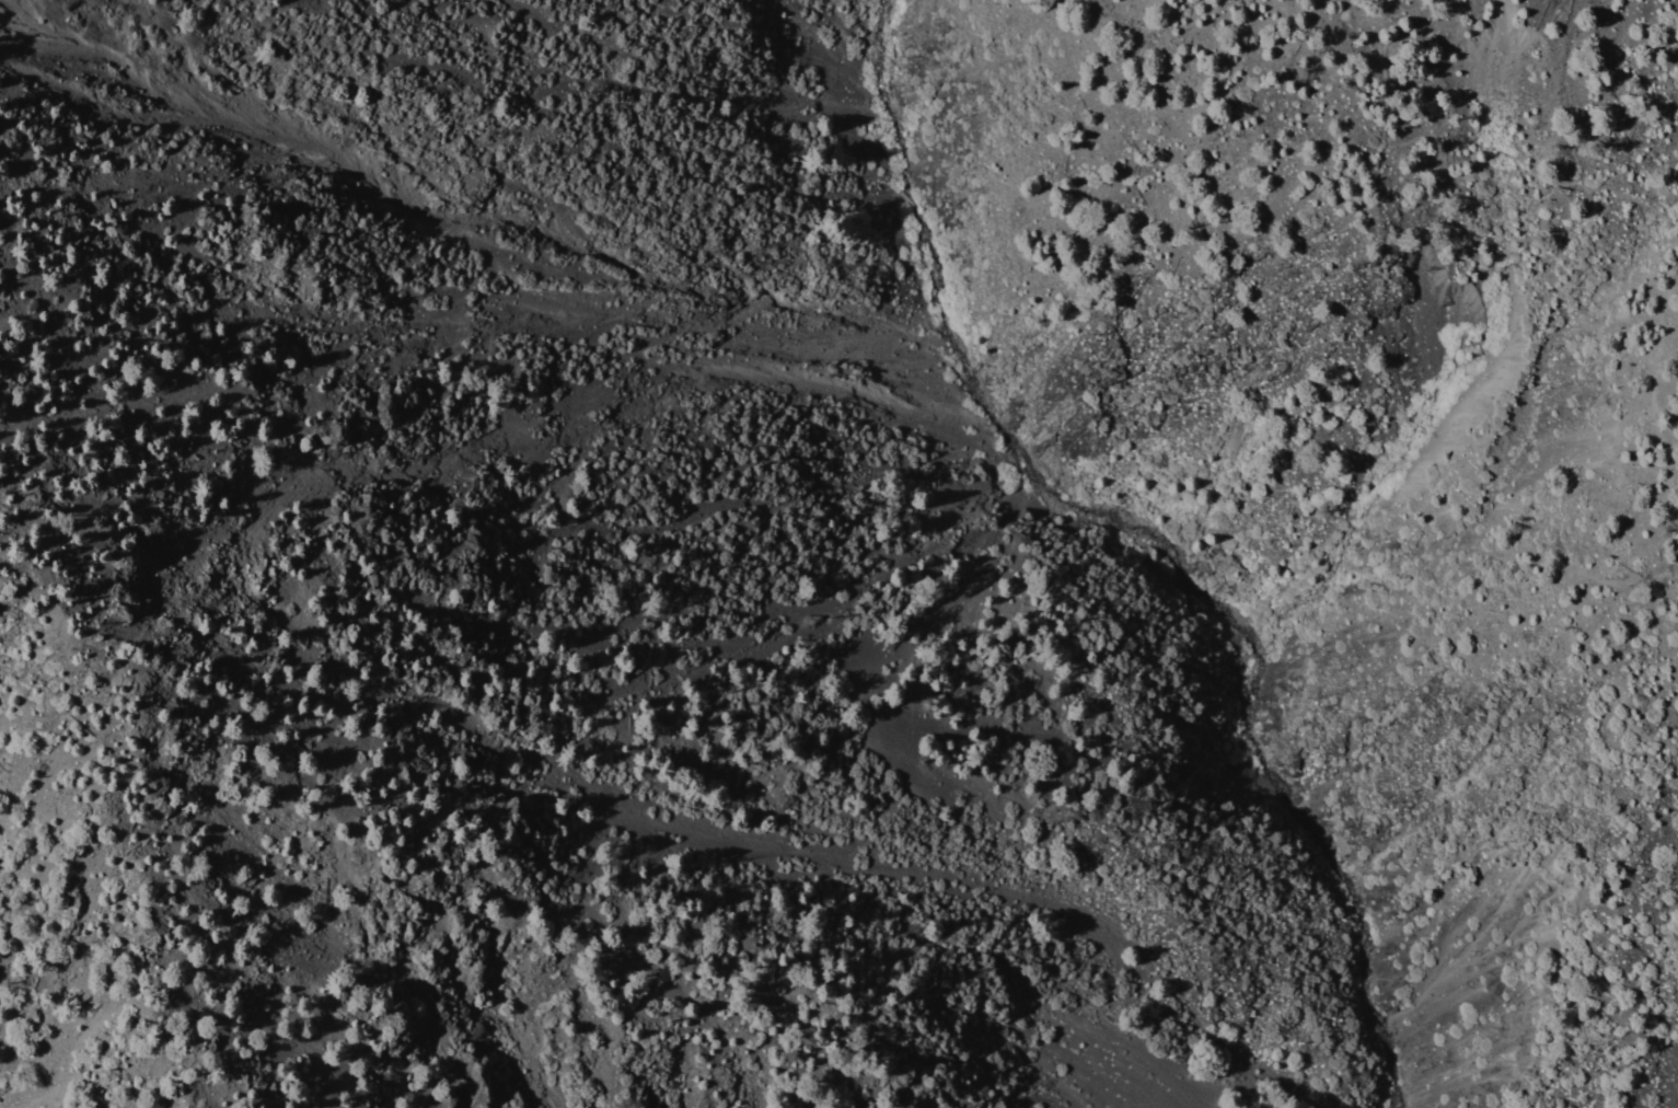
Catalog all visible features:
road: (1529, 184)
road: (1564, 615)

